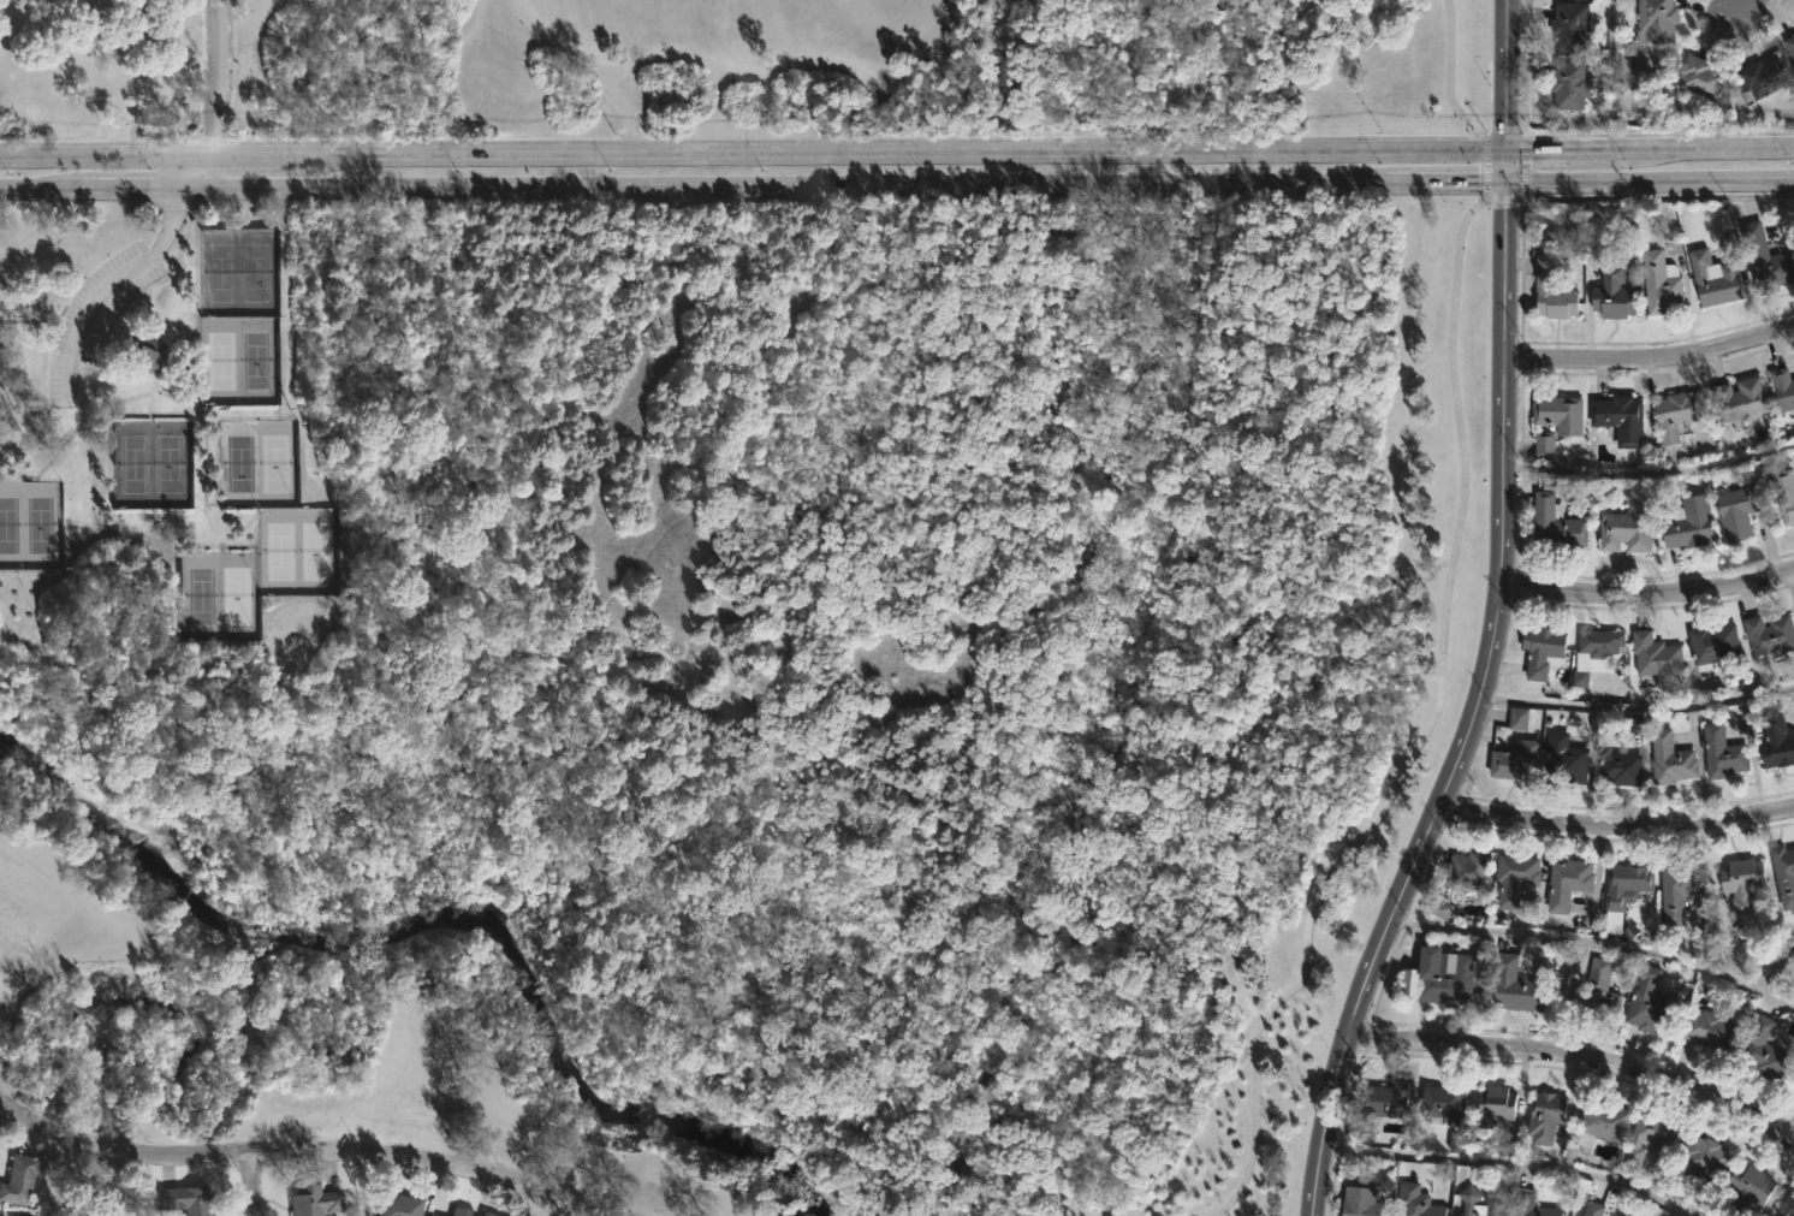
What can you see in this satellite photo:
road: (1746, 10)
building: (1655, 22)
building: (1573, 25)
building: (1789, 47)
road: (106, 48)
park: (739, 69)
road: (765, 71)
road: (1448, 72)
road: (1503, 73)
road: (1612, 73)
road: (213, 76)
building: (1698, 77)
building: (1760, 78)
building: (1568, 85)
road: (619, 103)
road: (1480, 135)
road: (1502, 136)
road: (737, 140)
road: (1703, 146)
road: (1557, 147)
traffic signals: (1503, 148)
road: (891, 149)
road: (245, 152)
road: (106, 153)
road: (1503, 161)
road: (1519, 166)
road: (1485, 167)
road: (212, 170)
road: (1649, 174)
traffic signals: (1503, 176)
road: (750, 182)
road: (1502, 198)
road: (1478, 201)
building: (1673, 248)
building: (1765, 259)
park: (218, 271)
park: (256, 271)
building: (1713, 278)
building: (1661, 283)
road: (113, 287)
building: (1551, 291)
building: (1612, 293)
parking lot: (93, 320)
building: (139, 352)
park: (259, 358)
road: (1650, 358)
park: (218, 360)
building: (1782, 387)
building: (1739, 398)
building: (1558, 413)
building: (1677, 413)
road: (82, 416)
building: (1618, 419)
road: (202, 440)
building: (1544, 444)
park: (277, 462)
park: (130, 463)
park: (170, 463)
park: (237, 463)
road: (1649, 470)
building: (1784, 493)
building: (1740, 510)
park: (10, 523)
park: (41, 523)
building: (1555, 523)
building: (1688, 523)
building: (1624, 532)
park: (316, 552)
park: (277, 553)
park: (730, 577)
road: (1645, 594)
park: (197, 595)
park: (237, 595)
park: (777, 634)
building: (1770, 635)
building: (1712, 645)
building: (1541, 649)
building: (1594, 651)
building: (1655, 654)
road: (1471, 707)
building: (1517, 719)
building: (1636, 723)
road: (1415, 740)
building: (1776, 742)
building: (1722, 752)
building: (1514, 758)
building: (1564, 759)
building: (1669, 760)
building: (1620, 769)
road: (1614, 824)
building: (1465, 872)
building: (1783, 876)
building: (1515, 877)
building: (1567, 883)
building: (1741, 883)
building: (1626, 884)
building: (1675, 889)
building: (1440, 909)
road: (1575, 937)
building: (1442, 979)
road: (1759, 981)
building: (1516, 986)
building: (1596, 992)
building: (1651, 1006)
building: (1707, 1030)
building: (1760, 1050)
road: (1580, 1057)
building: (1388, 1098)
building: (1442, 1103)
building: (1493, 1107)
building: (1545, 1116)
building: (1602, 1123)
road: (1790, 1135)
building: (1362, 1137)
building: (1649, 1137)
building: (1457, 1145)
building: (1510, 1146)
road: (307, 1152)
building: (1704, 1158)
road: (1511, 1164)
building: (19, 1179)
road: (250, 1184)
road: (361, 1185)
building: (1752, 1185)
building: (188, 1199)
building: (1468, 1199)
building: (315, 1200)
building: (1415, 1202)
building: (1360, 1203)
building: (402, 1205)
building: (1529, 1205)
building: (1787, 1205)
building: (1593, 1209)
building: (459, 1211)
building: (491, 1214)
building: (429, 1215)

